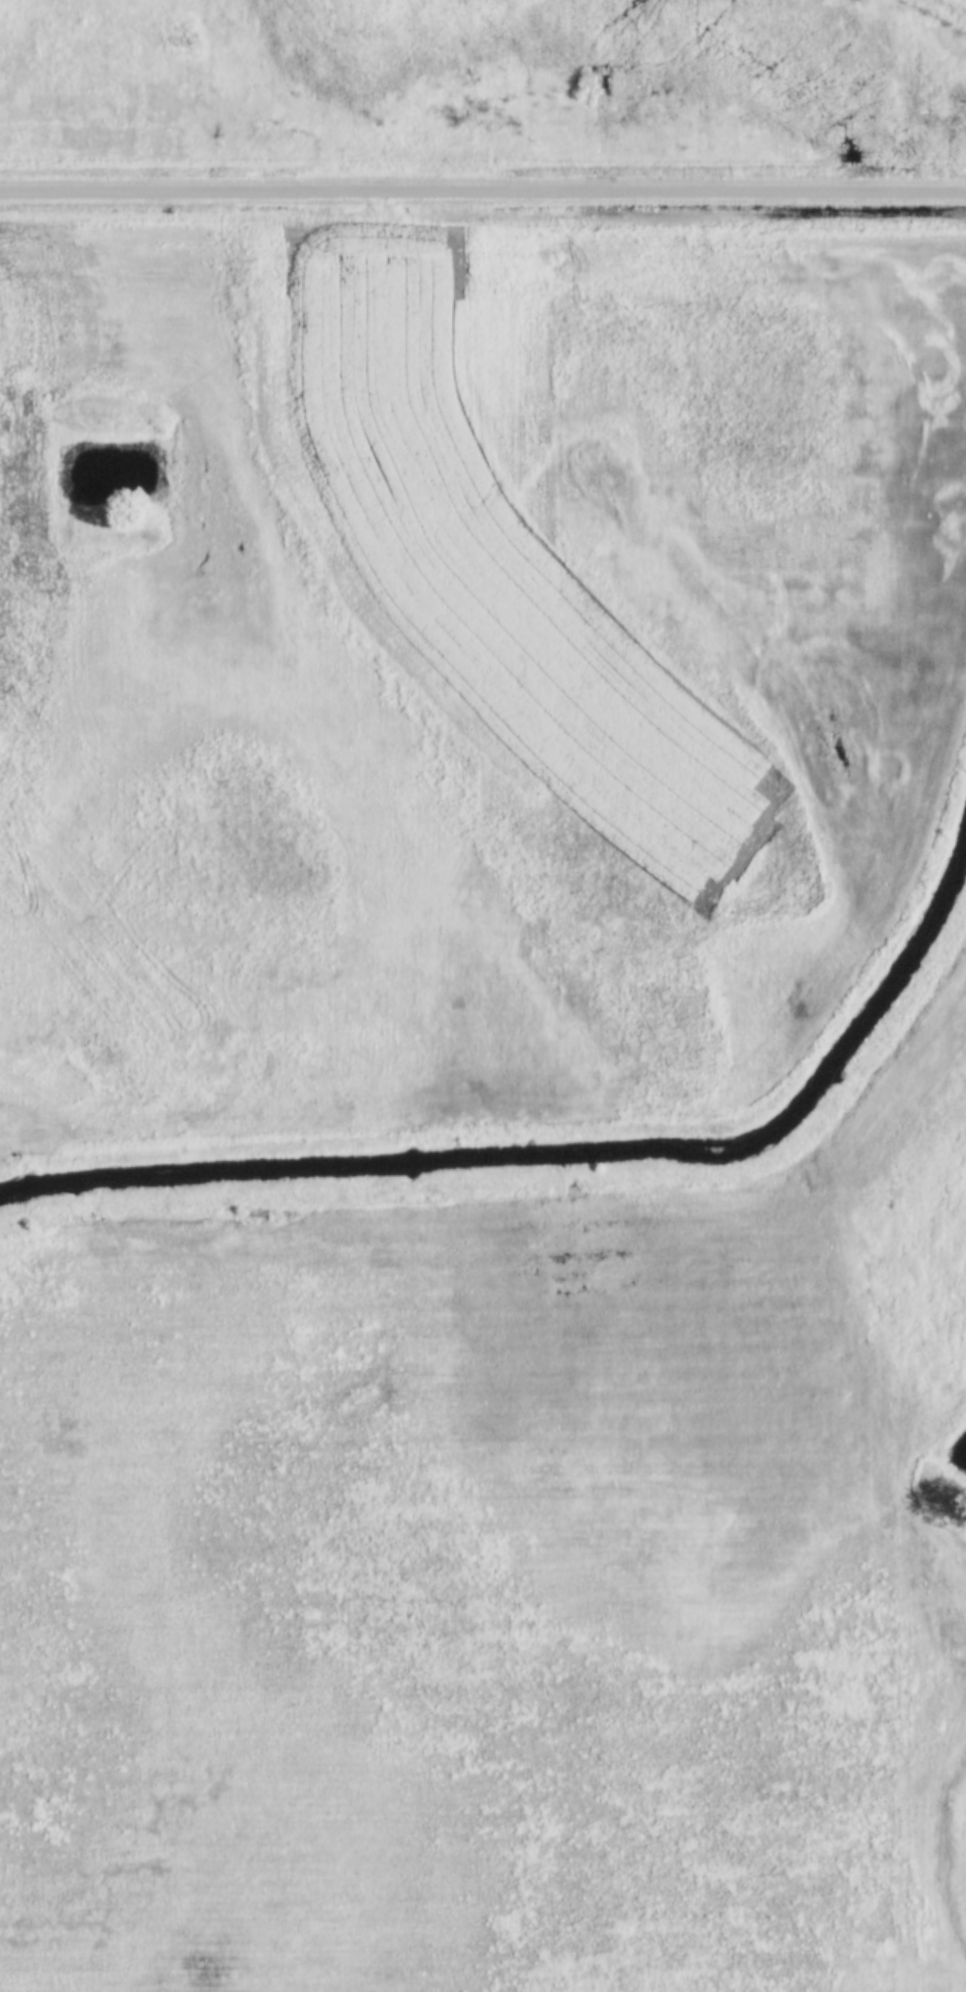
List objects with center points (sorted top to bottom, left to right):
road: (482, 192)
crop: (468, 668)
crop: (485, 1594)

